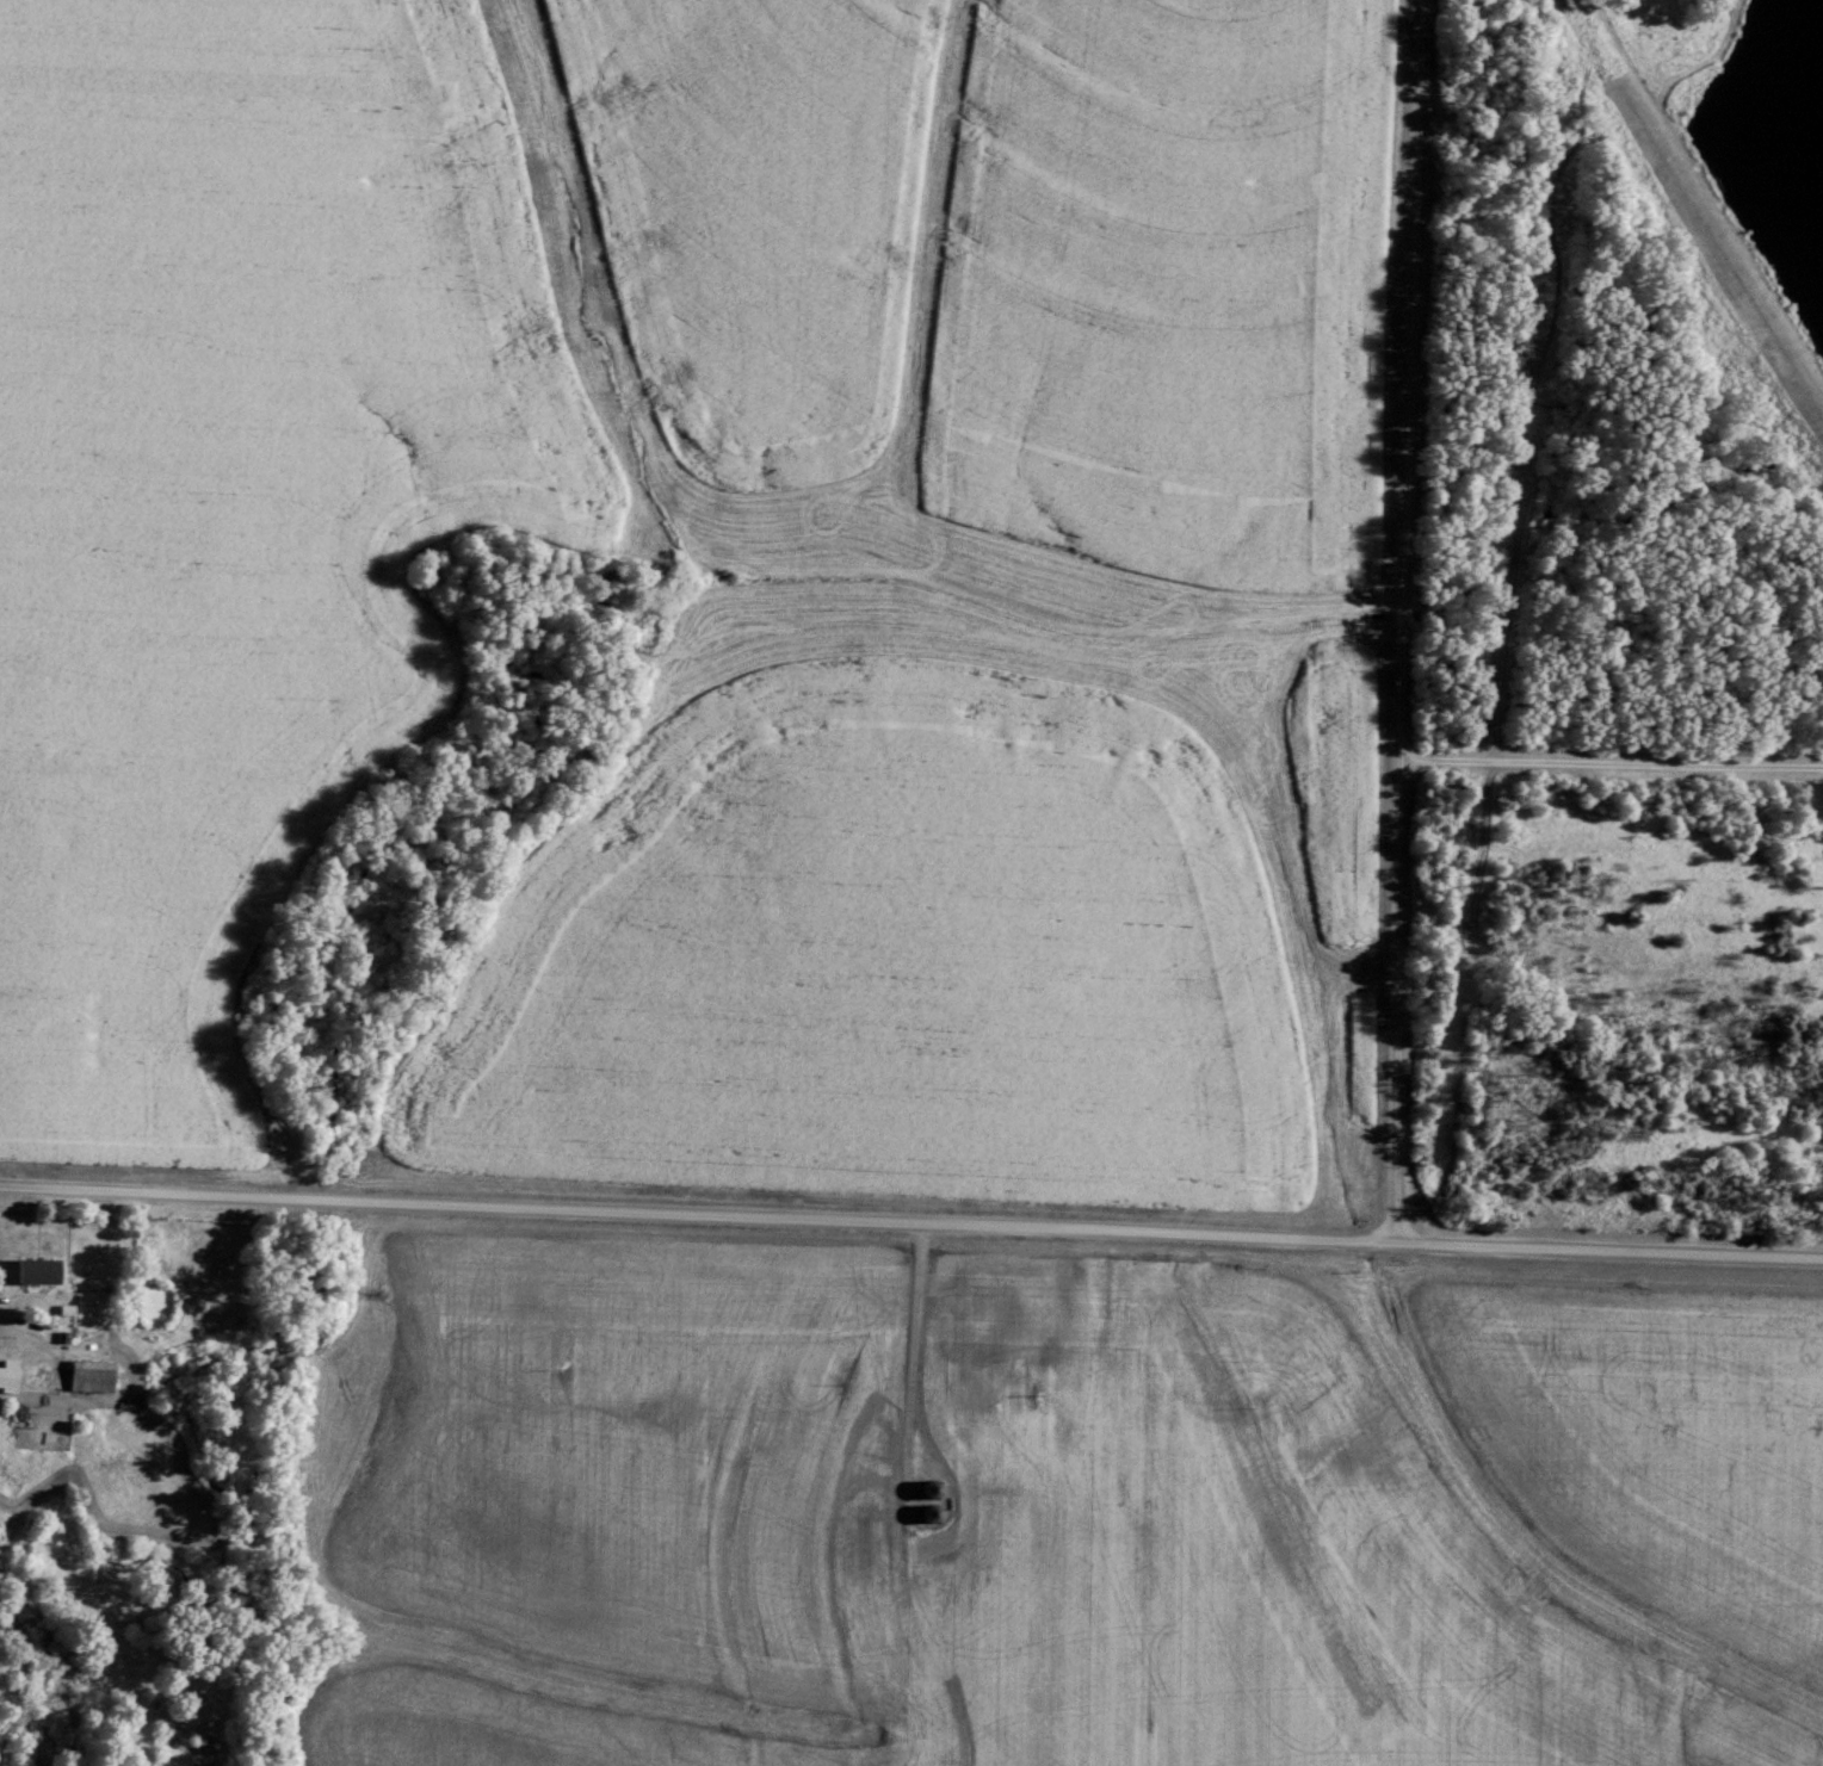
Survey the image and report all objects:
road: (1402, 621)
road: (1611, 764)
road: (911, 1220)
building: (36, 1271)
road: (0, 1319)
road: (913, 1350)
building: (8, 1376)
building: (91, 1376)

